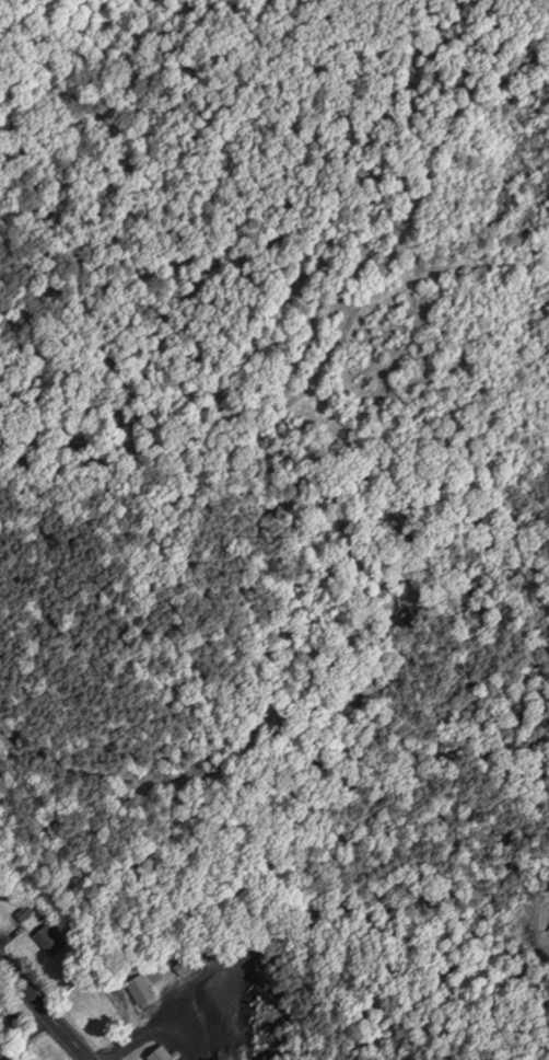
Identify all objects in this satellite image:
building: (50, 937)
building: (184, 961)
road: (43, 1012)

